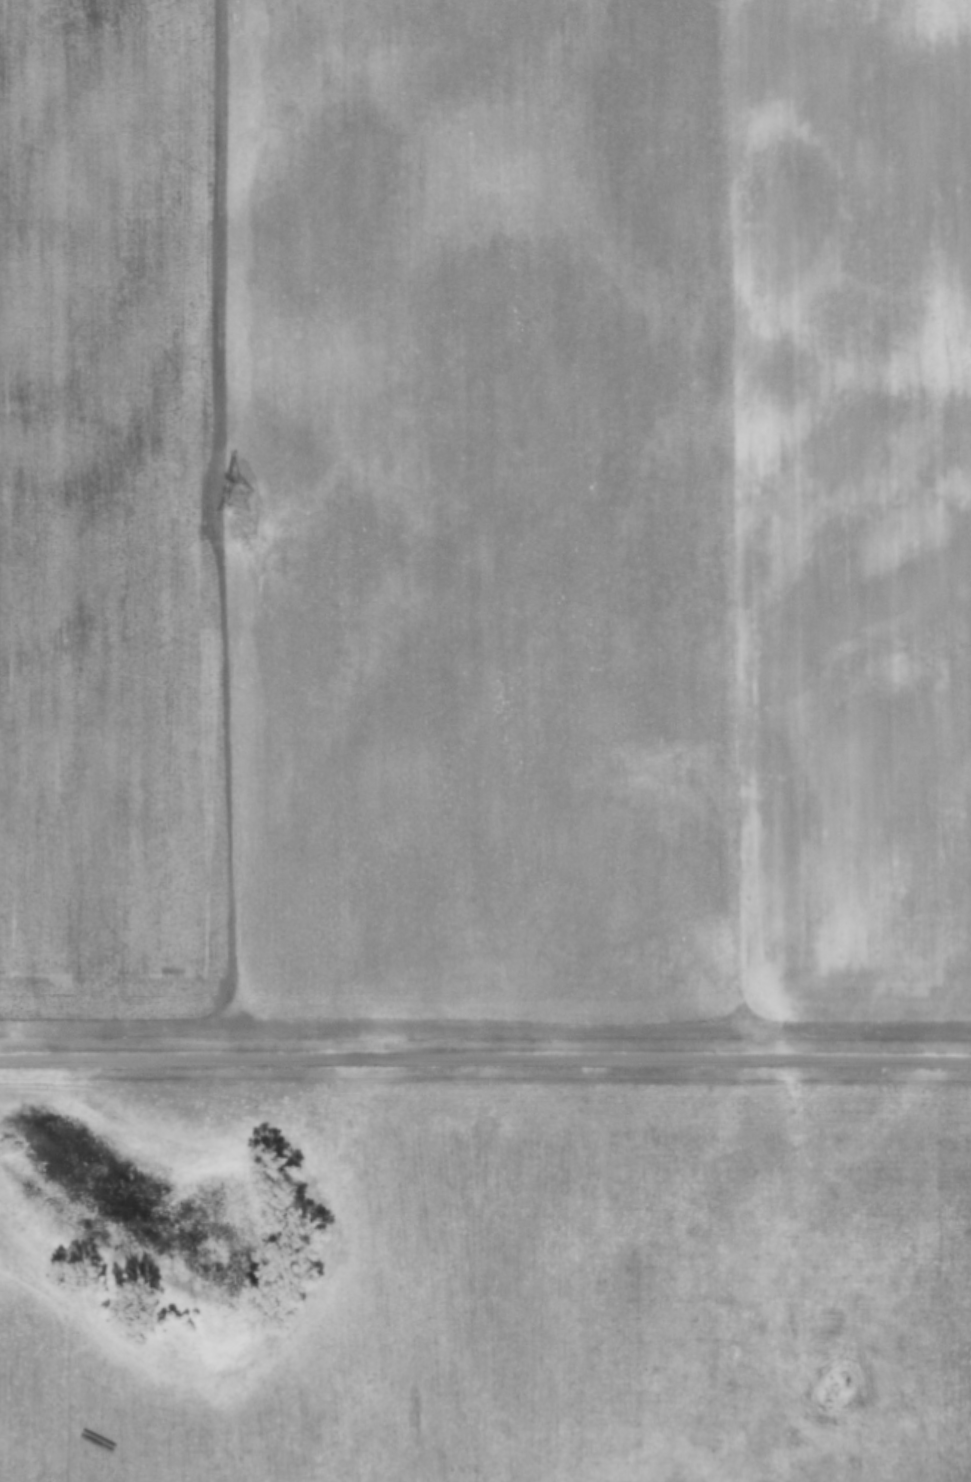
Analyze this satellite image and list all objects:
power tower: (241, 496)
road: (485, 1059)
building: (251, 1126)

